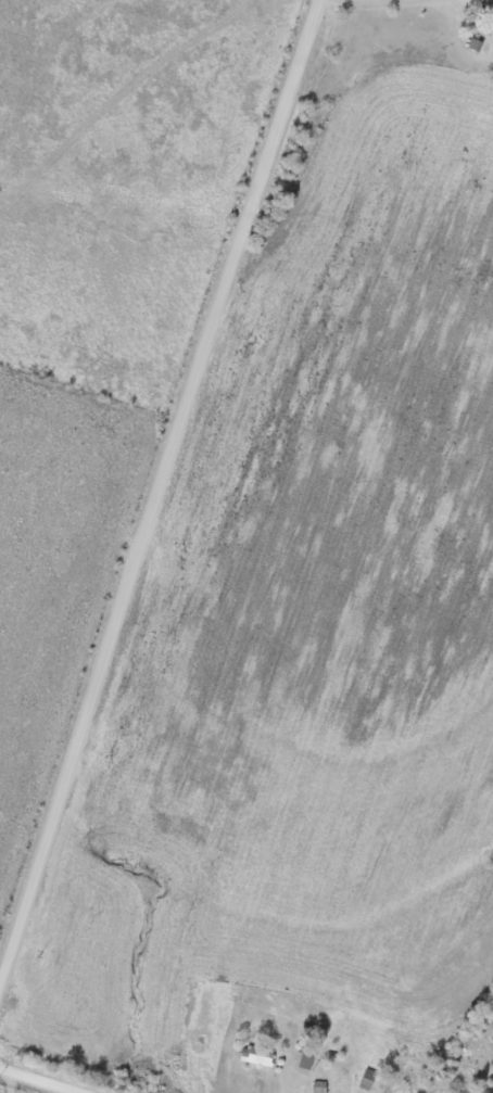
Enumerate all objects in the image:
building: (491, 8)
road: (163, 491)
road: (41, 1080)

